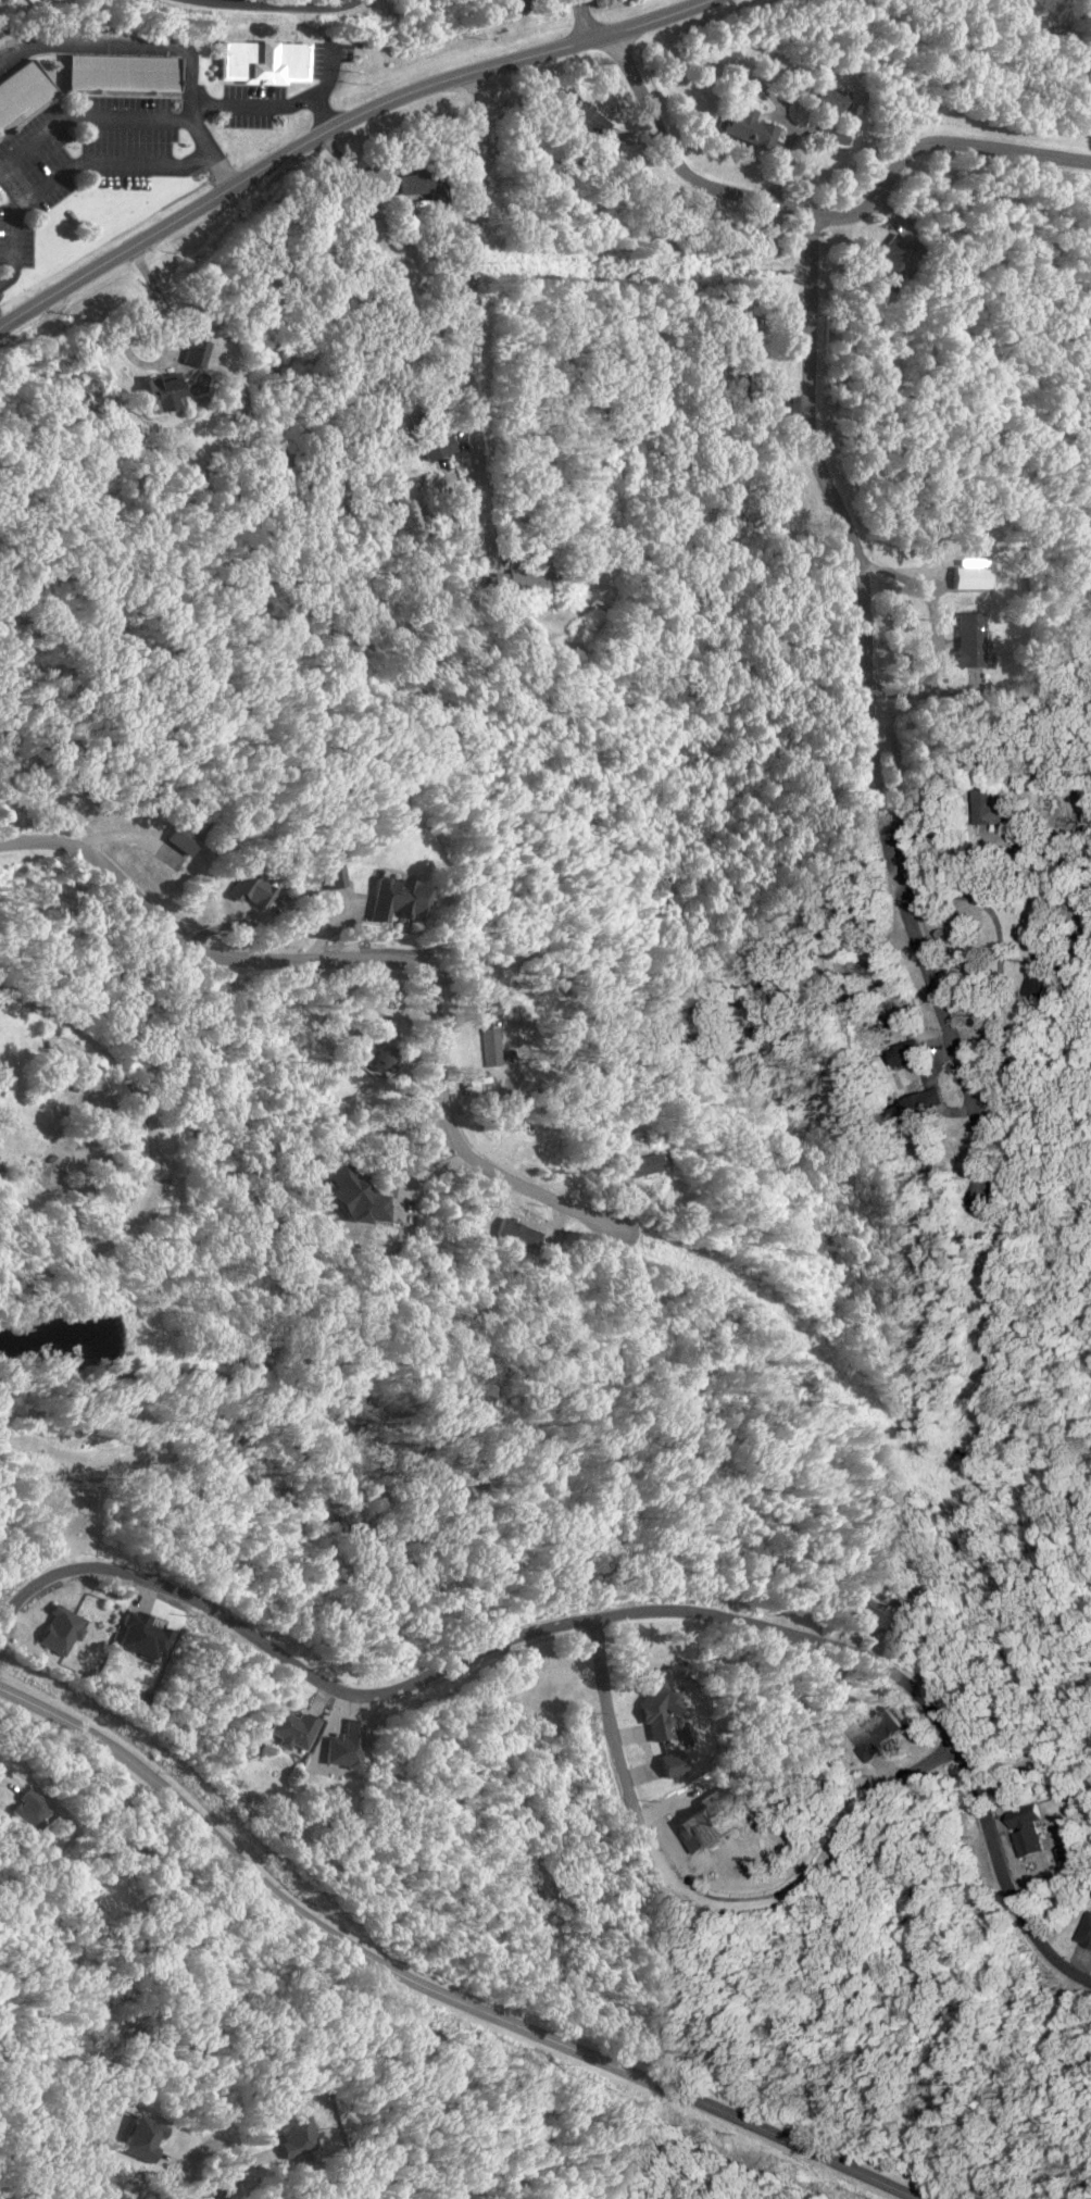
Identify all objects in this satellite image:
building: (514, 5)
road: (278, 8)
road: (588, 20)
building: (267, 62)
building: (123, 73)
building: (23, 92)
building: (831, 100)
building: (584, 116)
road: (165, 117)
road: (336, 126)
building: (748, 128)
road: (212, 148)
road: (70, 167)
building: (423, 185)
road: (820, 218)
building: (893, 258)
road: (472, 282)
building: (744, 350)
building: (193, 351)
building: (162, 391)
building: (434, 442)
building: (969, 577)
building: (515, 582)
building: (969, 639)
road: (869, 720)
building: (992, 807)
building: (184, 837)
building: (333, 876)
building: (253, 889)
building: (397, 899)
road: (296, 961)
building: (1039, 972)
building: (380, 1046)
building: (491, 1047)
building: (906, 1053)
building: (923, 1102)
building: (642, 1164)
building: (356, 1197)
road: (555, 1204)
building: (517, 1234)
road: (387, 1511)
building: (876, 1615)
road: (601, 1616)
building: (60, 1630)
building: (143, 1637)
road: (468, 1656)
building: (660, 1699)
building: (292, 1728)
building: (875, 1732)
building: (344, 1745)
building: (670, 1763)
building: (28, 1809)
building: (1026, 1828)
building: (1067, 1853)
road: (705, 1899)
building: (1086, 1931)
road: (552, 1944)
road: (430, 1988)
road: (1057, 2028)
building: (293, 2135)
building: (143, 2138)
road: (224, 2145)

